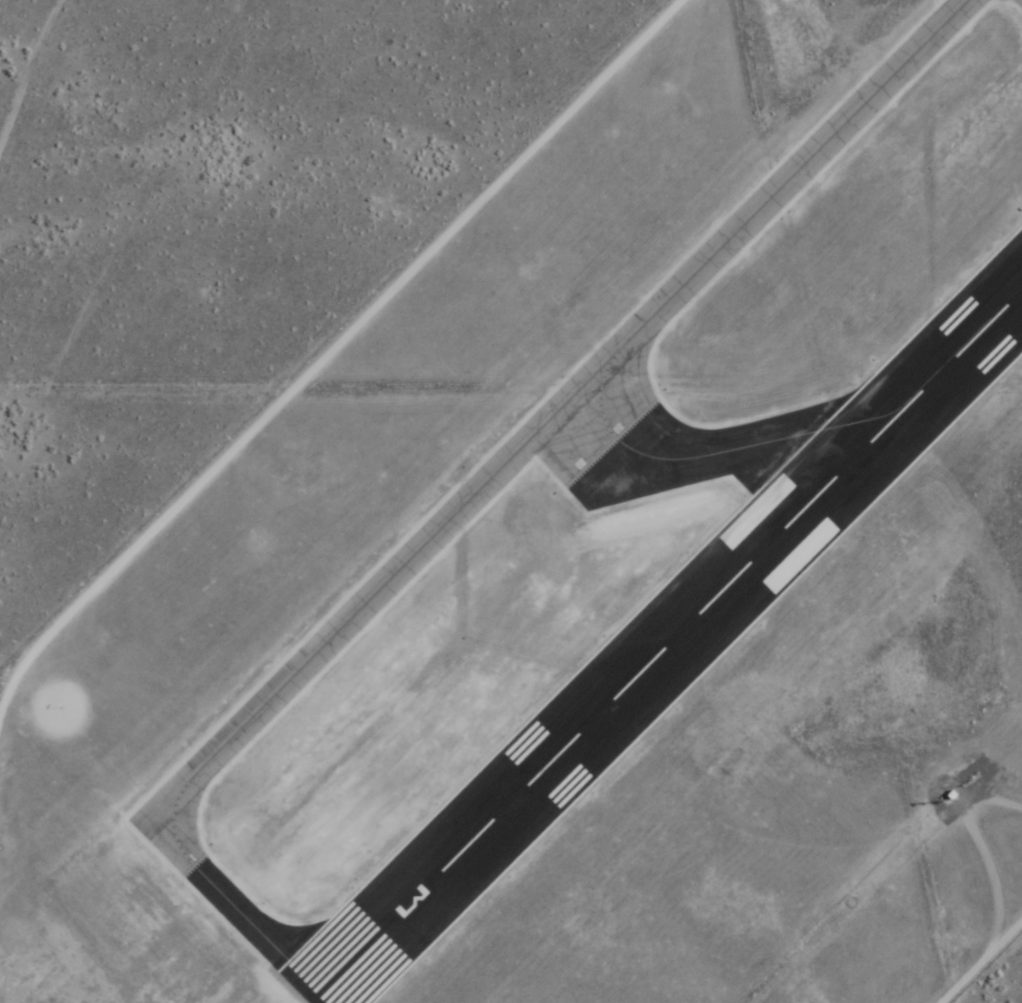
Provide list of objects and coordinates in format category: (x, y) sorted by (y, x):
road: (21, 73)
road: (333, 348)
airport taxiway: (580, 393)
airport taxiway: (718, 452)
airport: (590, 578)
airport runway: (665, 646)
airport taxiway: (227, 895)
road: (980, 962)

